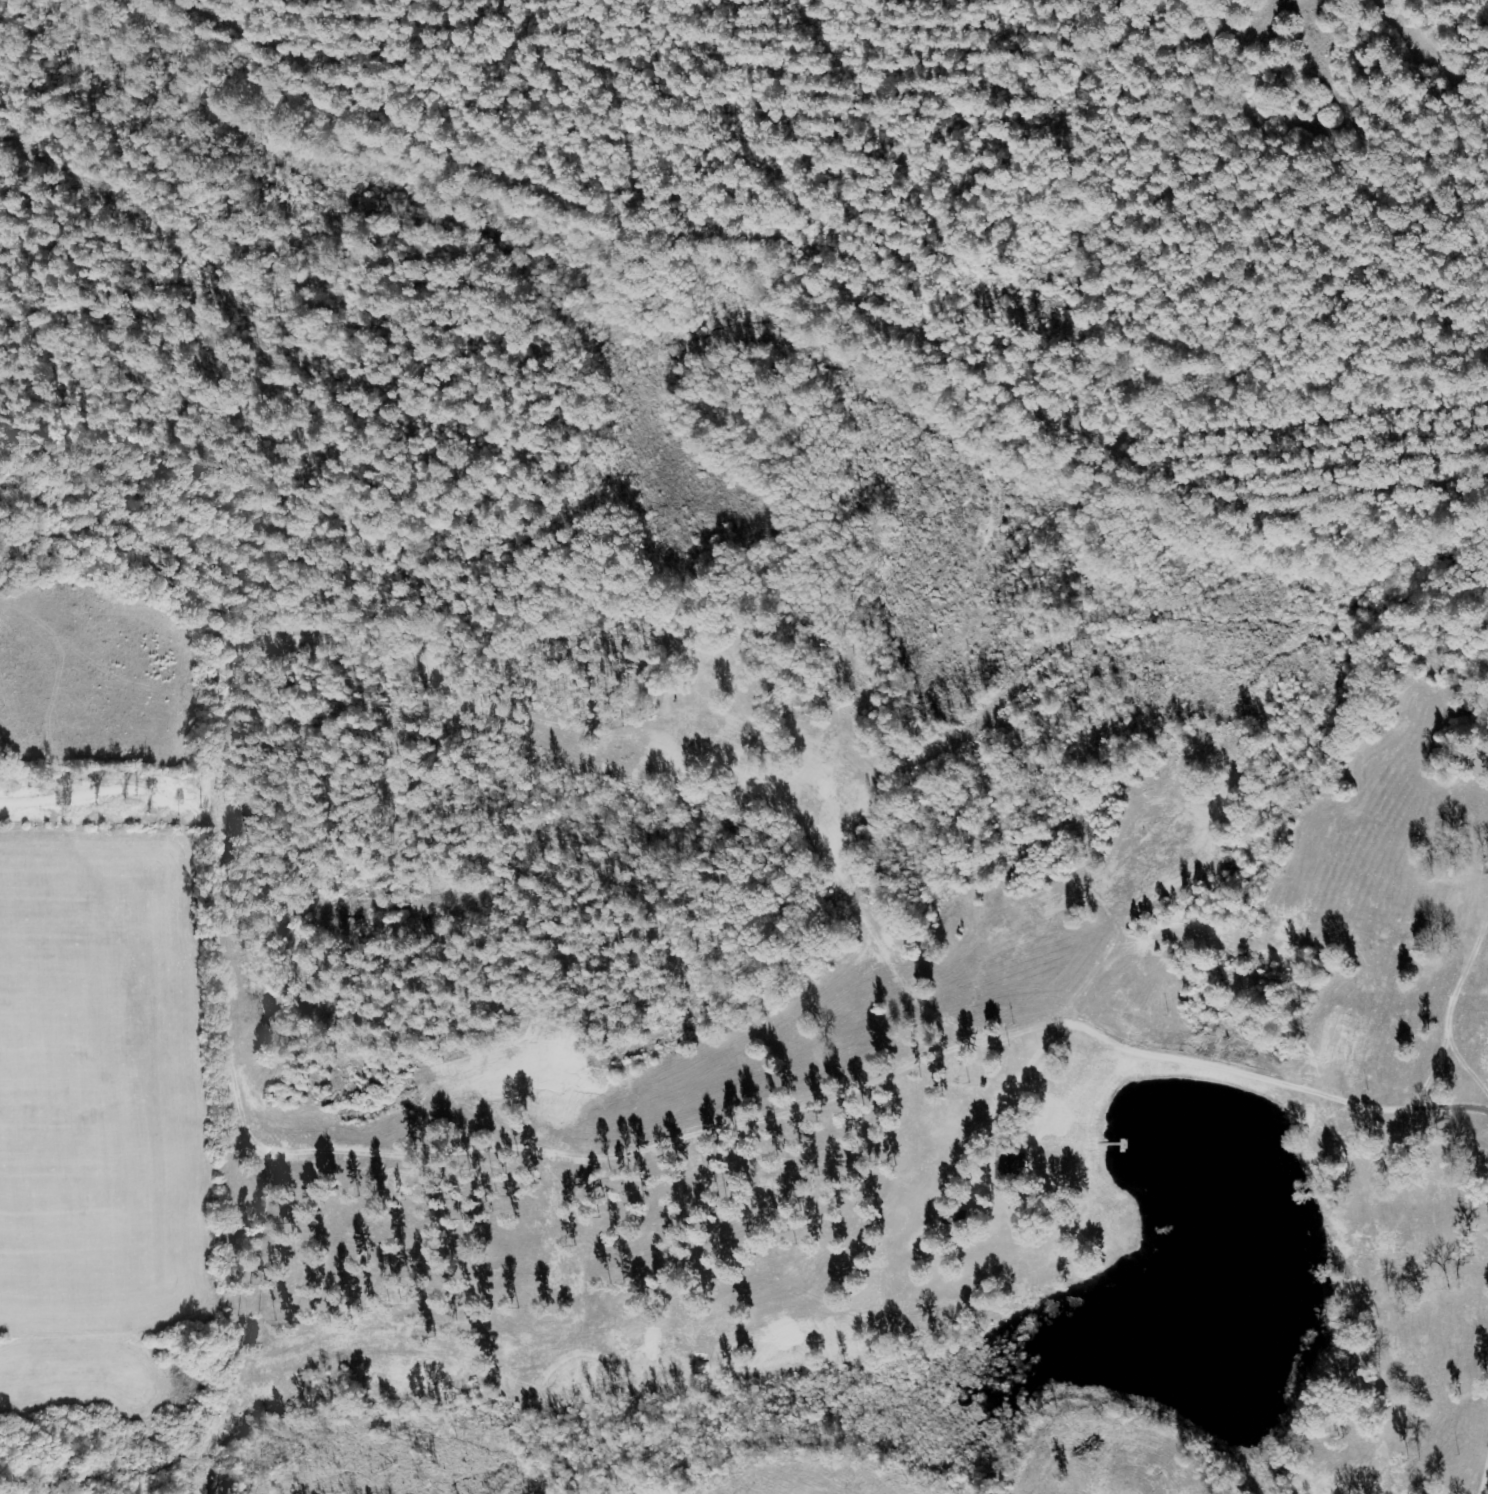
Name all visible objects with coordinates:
road: (1484, 1480)

